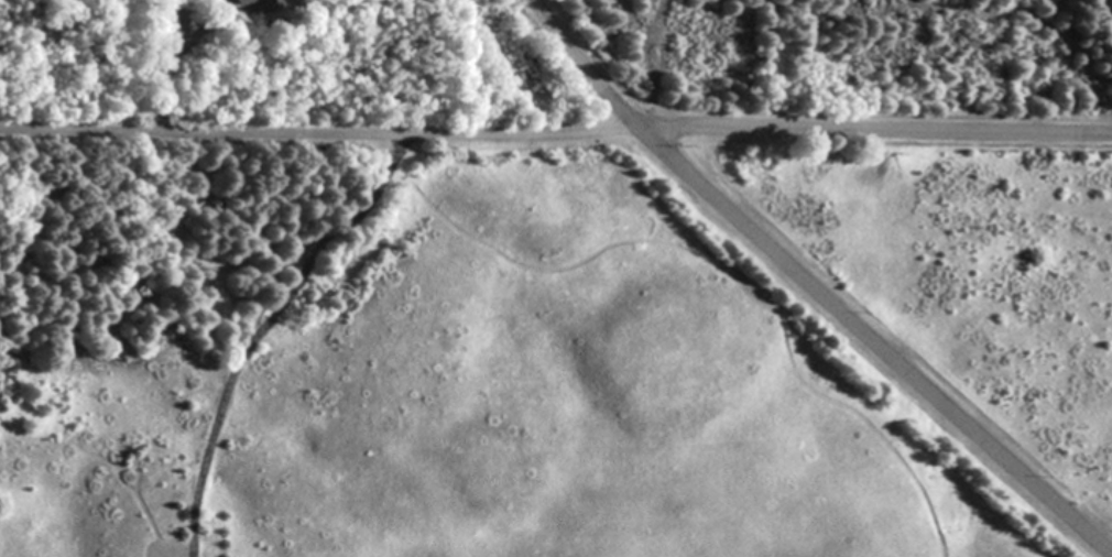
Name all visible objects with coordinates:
building: (254, 8)
road: (581, 64)
road: (873, 127)
road: (317, 135)
road: (259, 327)
road: (871, 341)

